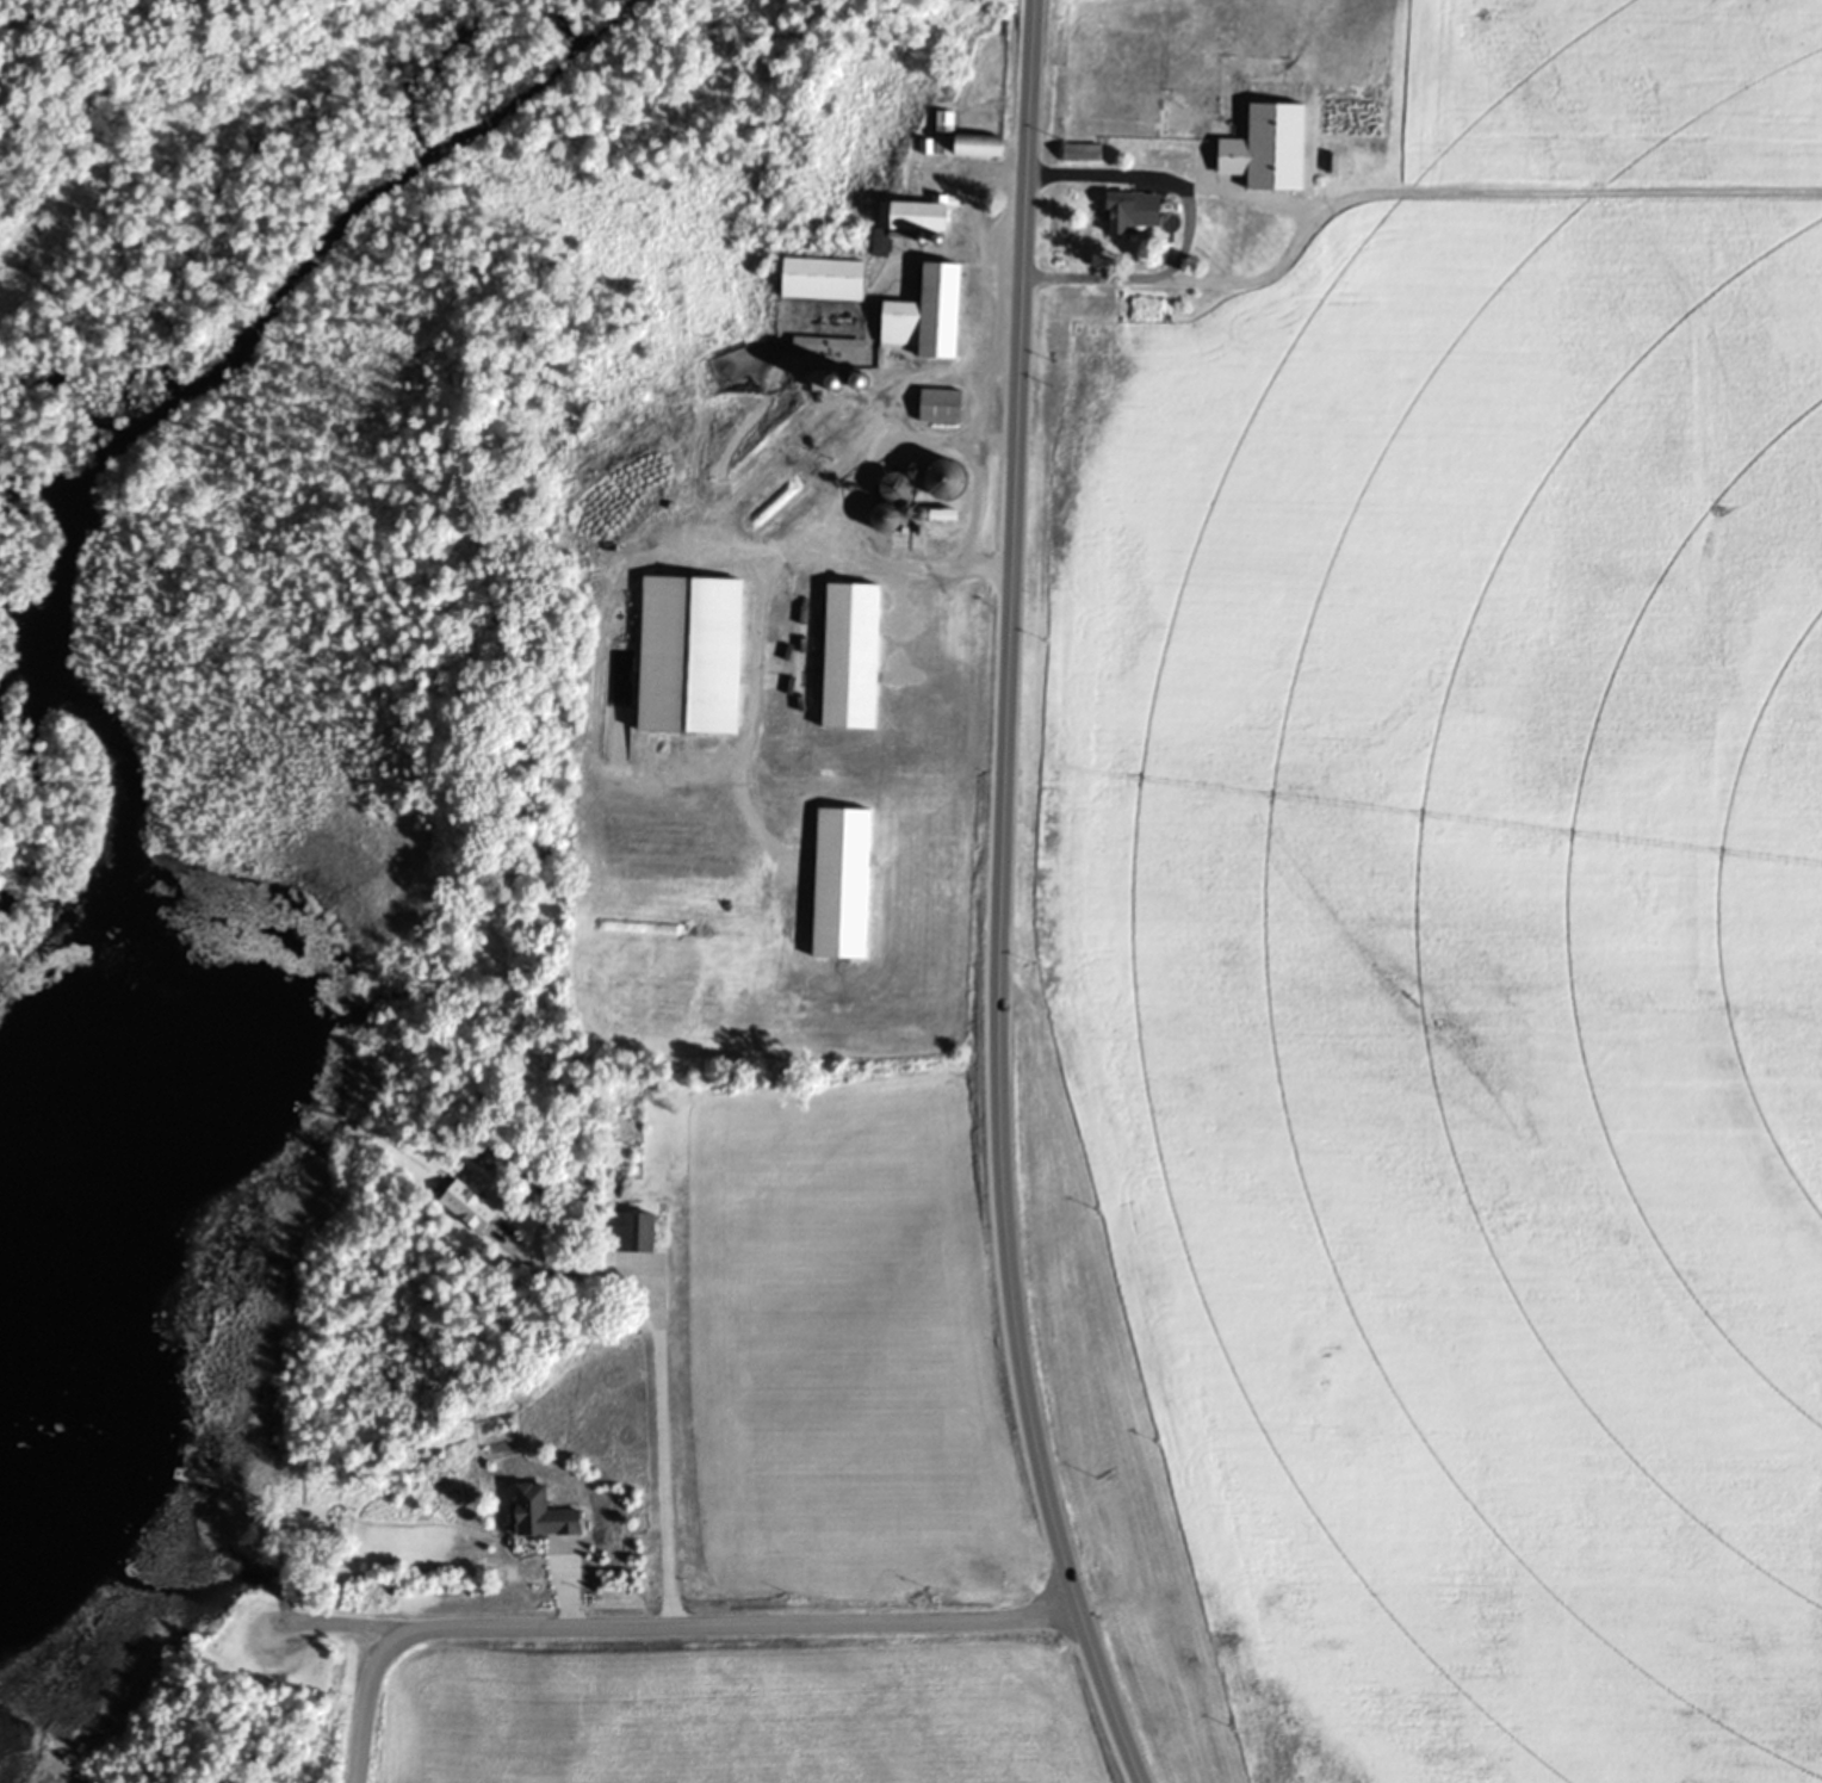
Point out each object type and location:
building: (965, 138)
building: (1282, 146)
building: (1090, 149)
building: (1136, 209)
building: (924, 218)
building: (828, 276)
building: (932, 310)
building: (825, 345)
building: (862, 379)
building: (817, 380)
building: (837, 380)
building: (944, 400)
building: (944, 477)
building: (890, 501)
building: (932, 514)
building: (698, 652)
building: (856, 655)
building: (847, 878)
road: (1000, 899)
building: (465, 1207)
building: (631, 1232)
road: (652, 1370)
building: (540, 1515)
road: (665, 1630)

